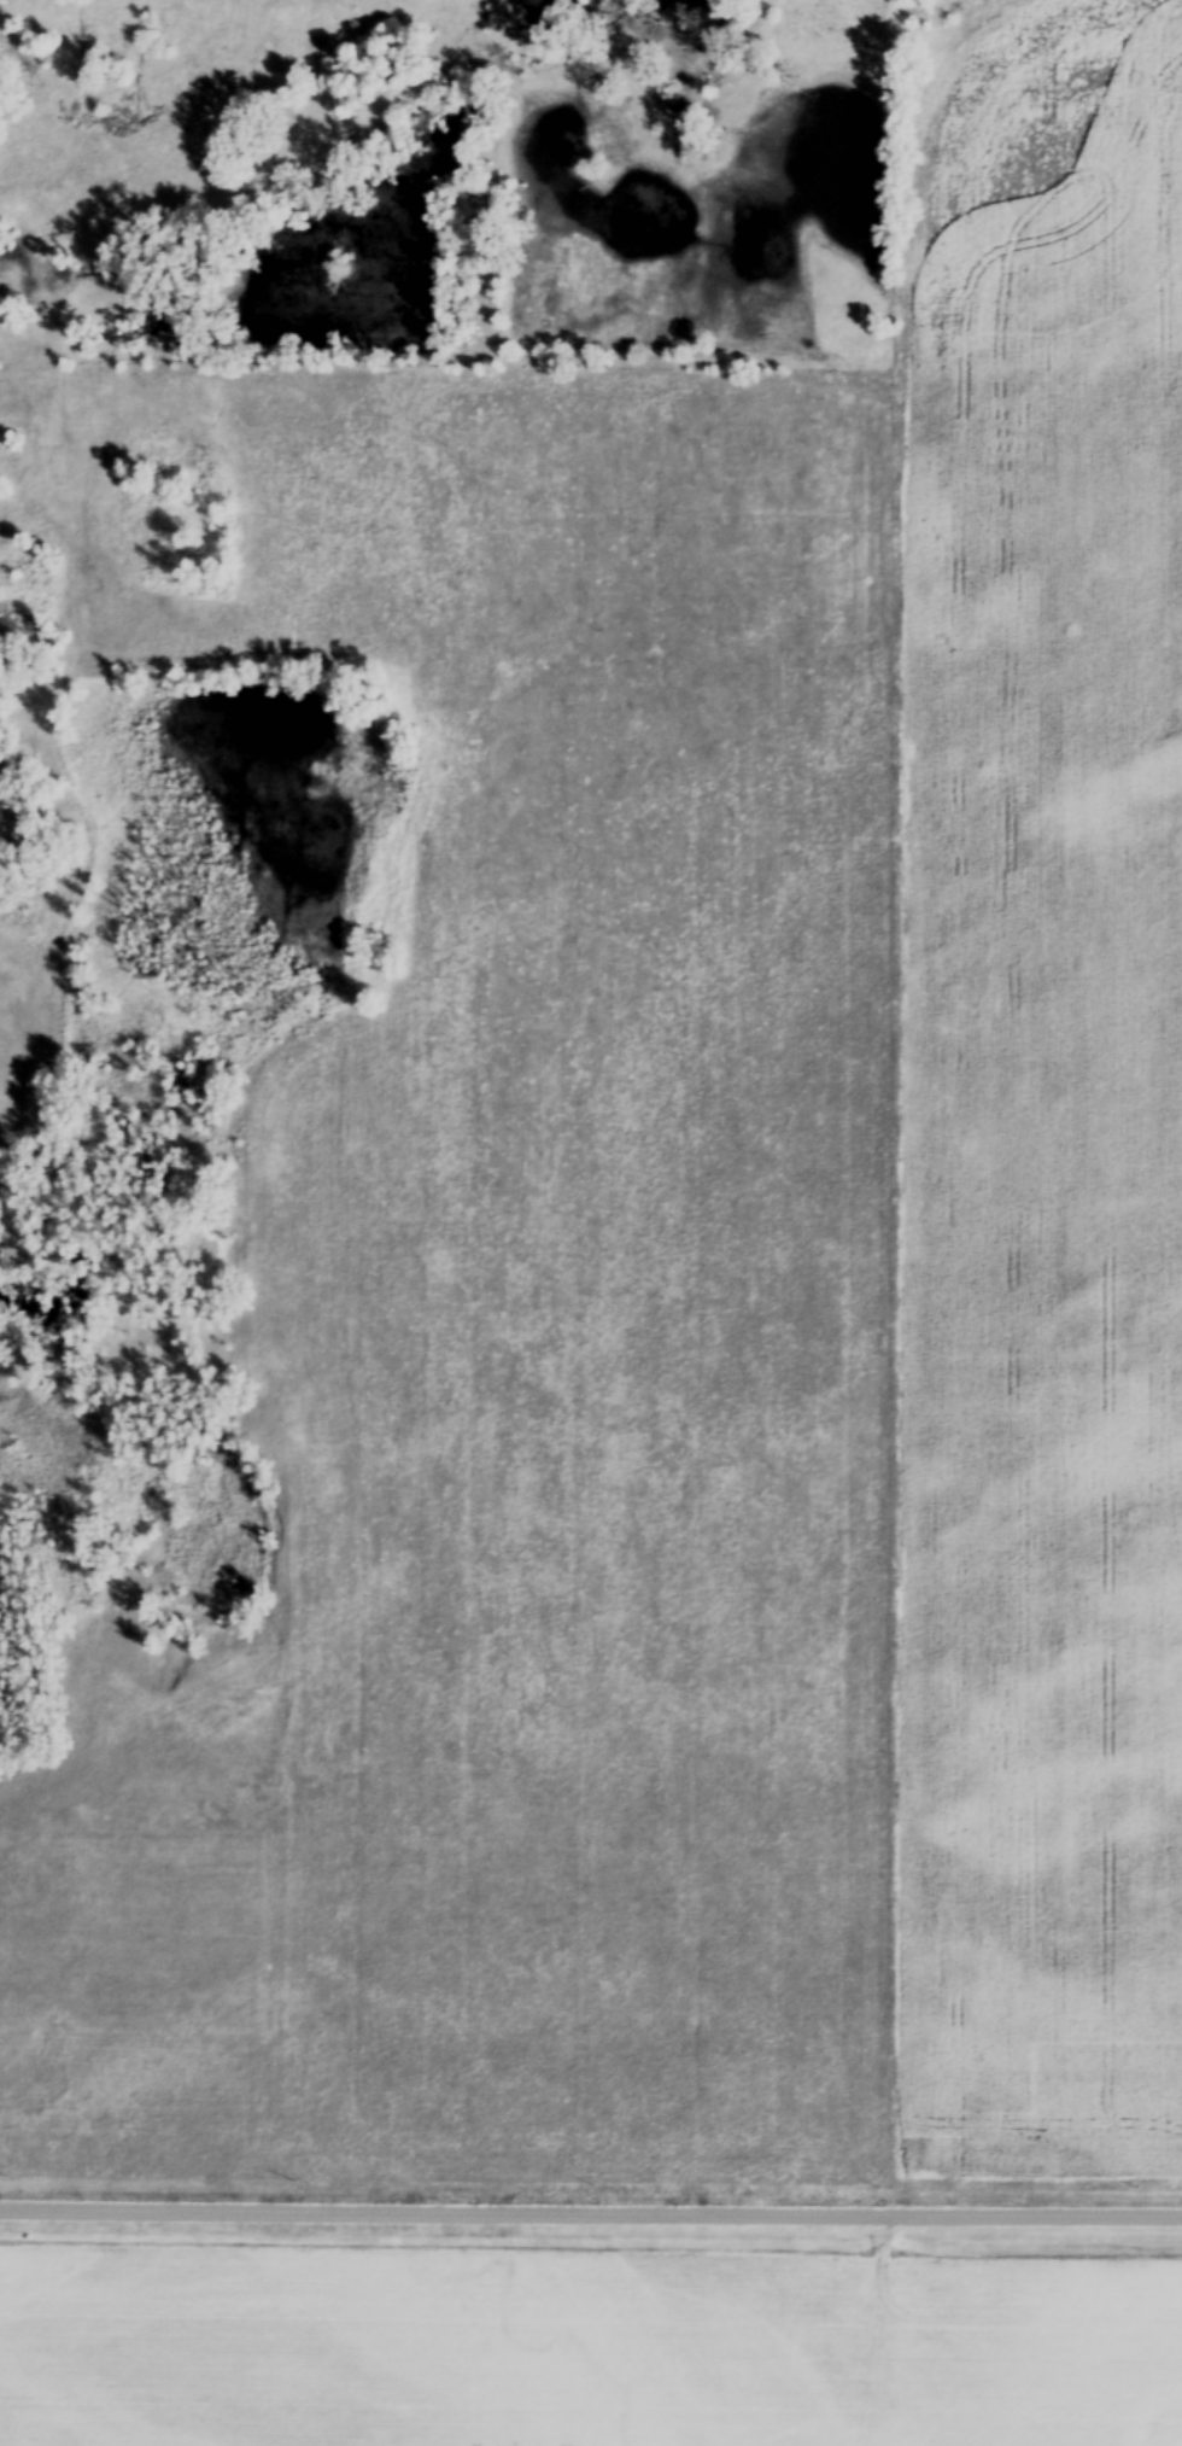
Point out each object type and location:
road: (590, 2209)

